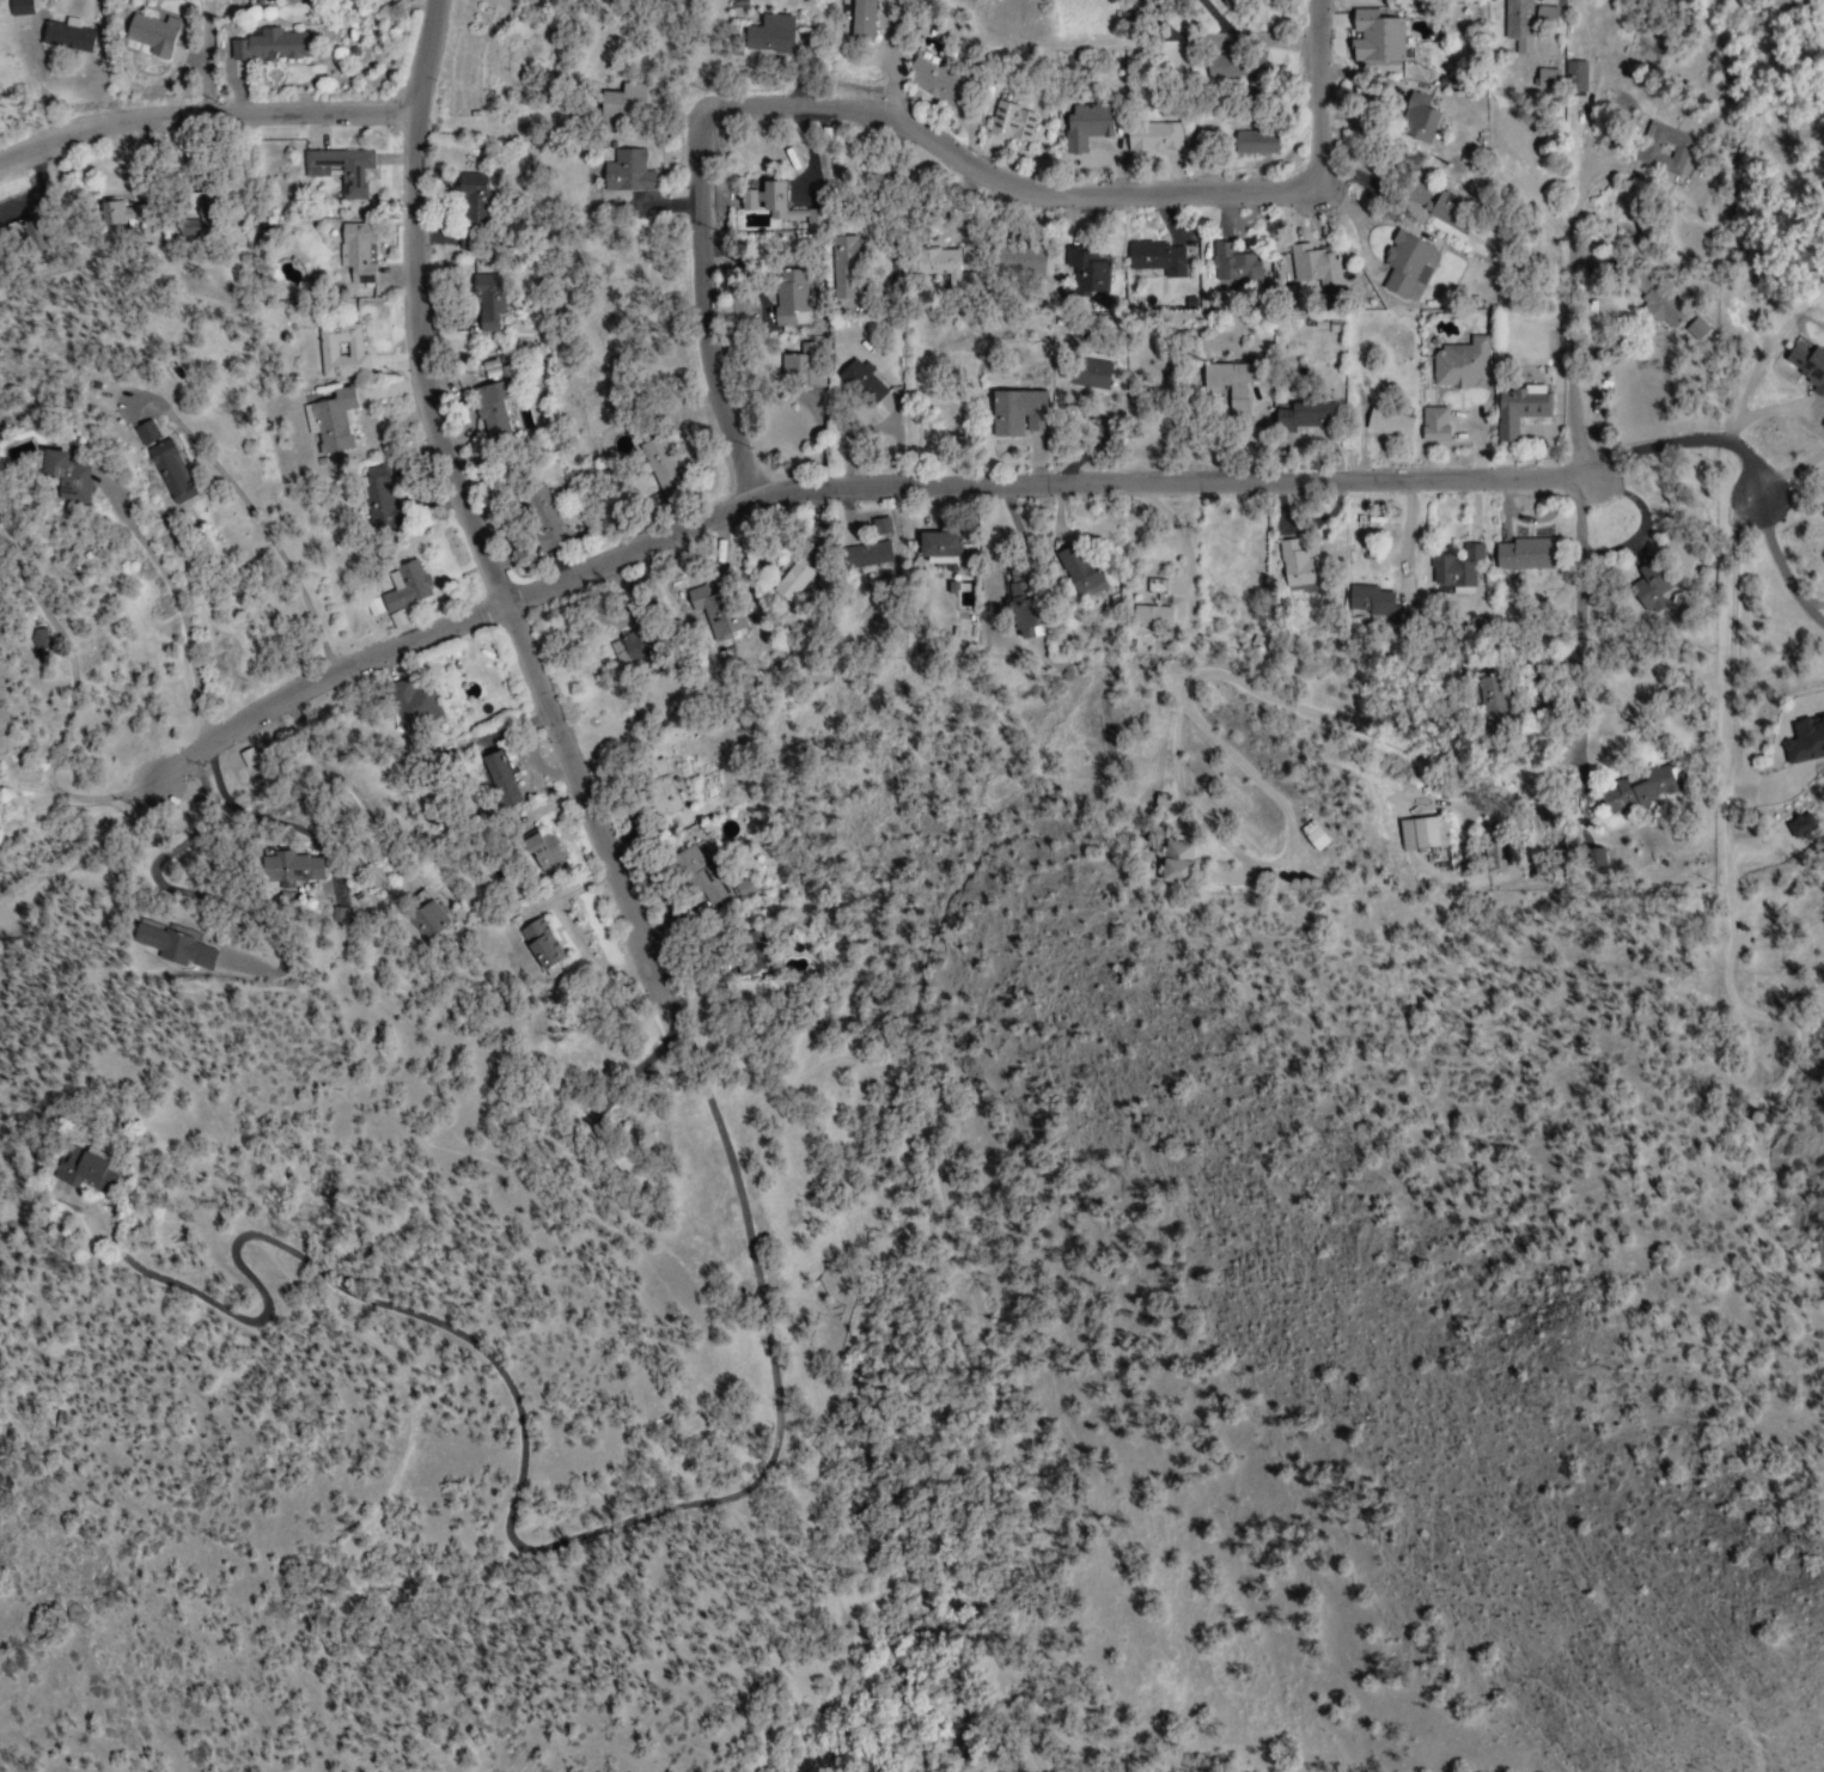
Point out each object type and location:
building: (257, 1)
building: (1135, 4)
building: (1186, 5)
building: (1523, 25)
building: (150, 32)
building: (765, 35)
building: (65, 41)
building: (1378, 42)
building: (269, 45)
building: (1234, 63)
building: (935, 83)
building: (1539, 83)
building: (620, 110)
road: (205, 117)
building: (1415, 117)
building: (1013, 122)
building: (1085, 123)
building: (1152, 136)
building: (1232, 144)
building: (1646, 151)
building: (338, 169)
building: (627, 173)
building: (470, 196)
road: (1079, 196)
building: (775, 208)
building: (115, 214)
building: (31, 239)
building: (355, 251)
building: (1152, 256)
building: (944, 258)
building: (1231, 263)
building: (1082, 264)
building: (1405, 264)
building: (1312, 266)
building: (842, 267)
building: (1024, 267)
building: (776, 297)
building: (1188, 304)
building: (1661, 304)
building: (1159, 305)
building: (487, 312)
road: (702, 319)
building: (1695, 329)
building: (325, 349)
building: (486, 366)
building: (1459, 366)
building: (798, 369)
building: (1086, 373)
building: (860, 384)
building: (1233, 385)
building: (484, 395)
building: (1517, 410)
building: (1014, 413)
building: (1301, 415)
building: (327, 419)
building: (492, 424)
building: (1432, 425)
building: (164, 462)
building: (658, 467)
building: (62, 479)
building: (374, 495)
road: (868, 495)
road: (478, 505)
building: (551, 512)
building: (938, 546)
building: (873, 552)
building: (1523, 556)
building: (1292, 566)
building: (1228, 567)
building: (1450, 567)
road: (1775, 573)
building: (1078, 574)
building: (793, 579)
building: (405, 589)
building: (948, 589)
building: (1649, 589)
building: (1017, 601)
building: (1375, 608)
road: (172, 609)
building: (708, 616)
building: (1149, 616)
building: (1035, 633)
road: (1477, 633)
building: (638, 645)
road: (1720, 657)
building: (1491, 694)
building: (417, 711)
building: (1804, 744)
building: (250, 761)
building: (493, 779)
building: (658, 788)
building: (1635, 793)
building: (1160, 802)
building: (1798, 827)
building: (1423, 833)
building: (1311, 836)
building: (541, 855)
building: (1176, 864)
building: (286, 870)
building: (367, 876)
building: (744, 882)
building: (428, 919)
building: (337, 921)
building: (170, 946)
building: (539, 946)
road: (687, 1048)
road: (633, 1066)
building: (84, 1169)
road: (499, 1486)

